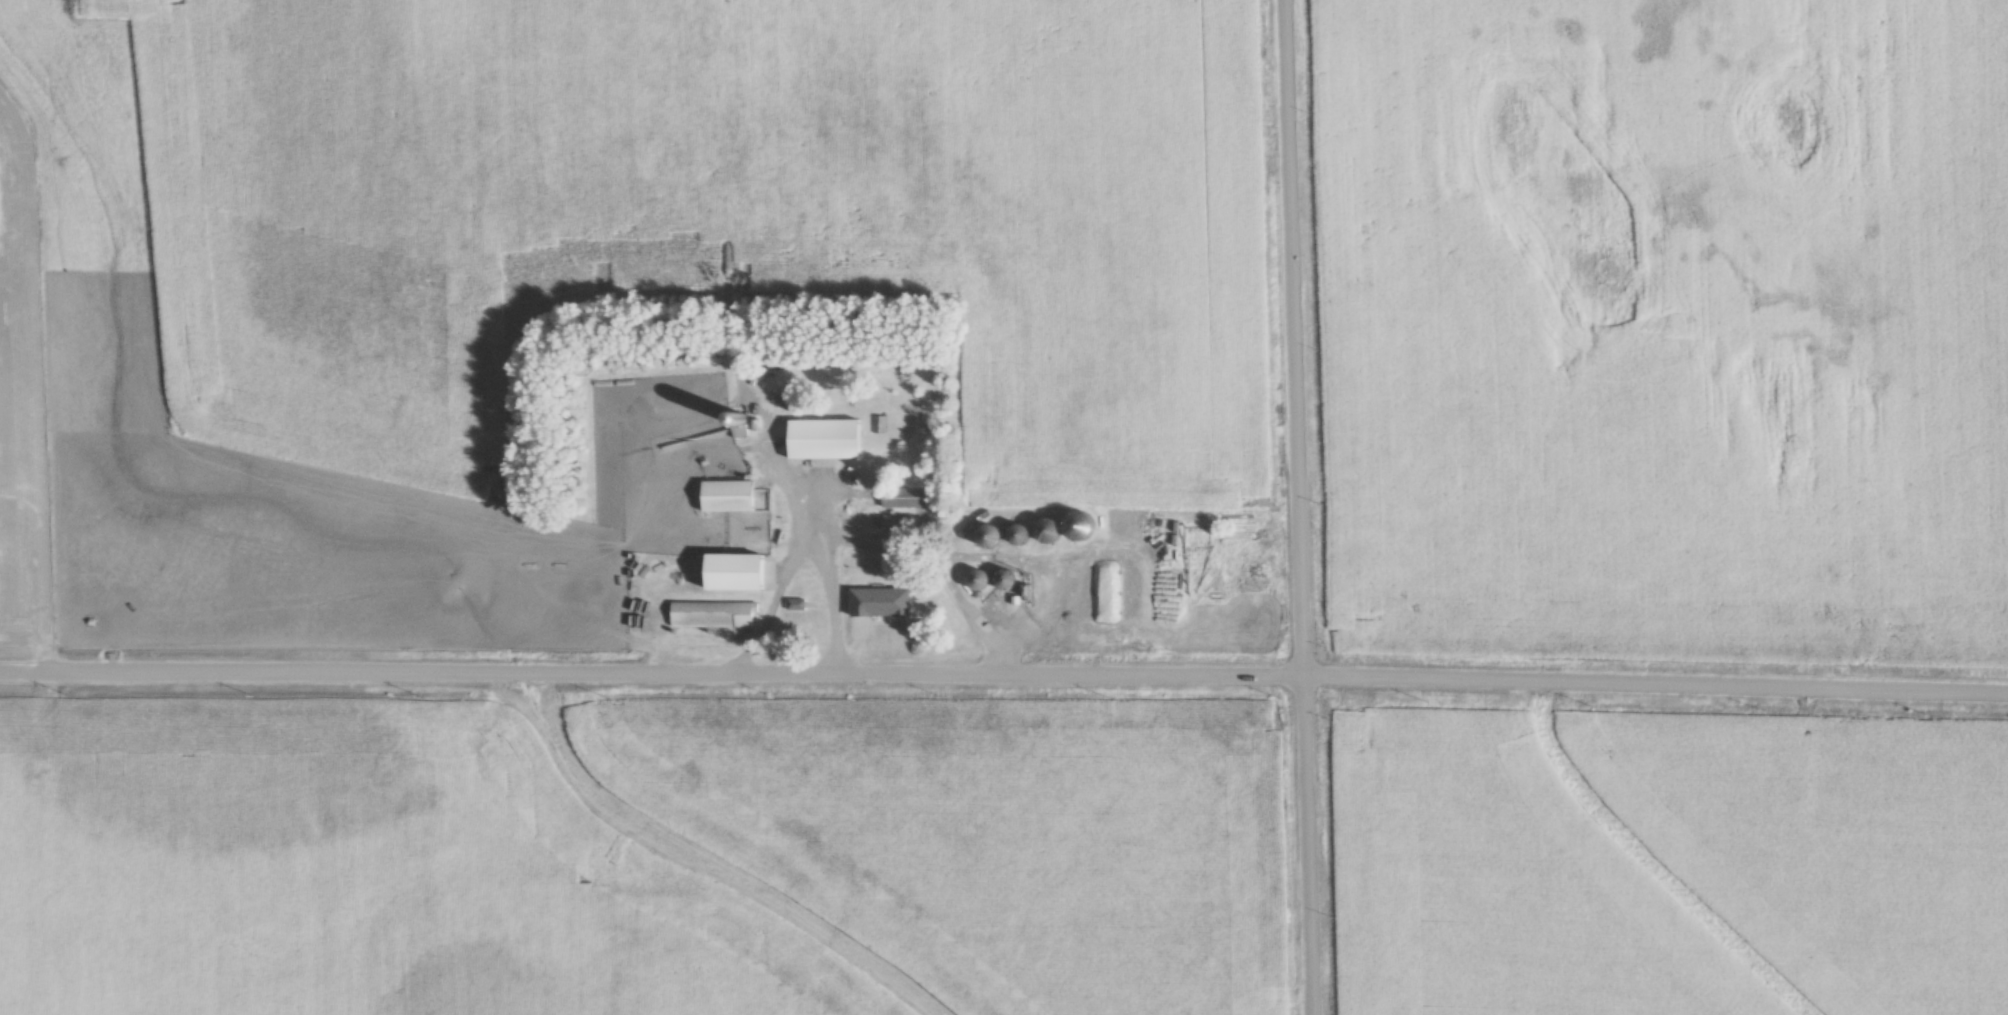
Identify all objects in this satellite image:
building: (828, 439)
road: (791, 486)
building: (904, 497)
building: (732, 505)
road: (1297, 507)
building: (893, 522)
building: (1085, 525)
building: (1052, 529)
building: (1024, 533)
building: (994, 536)
road: (800, 550)
building: (737, 572)
building: (982, 580)
building: (1008, 580)
building: (882, 602)
building: (713, 614)
road: (1004, 676)

